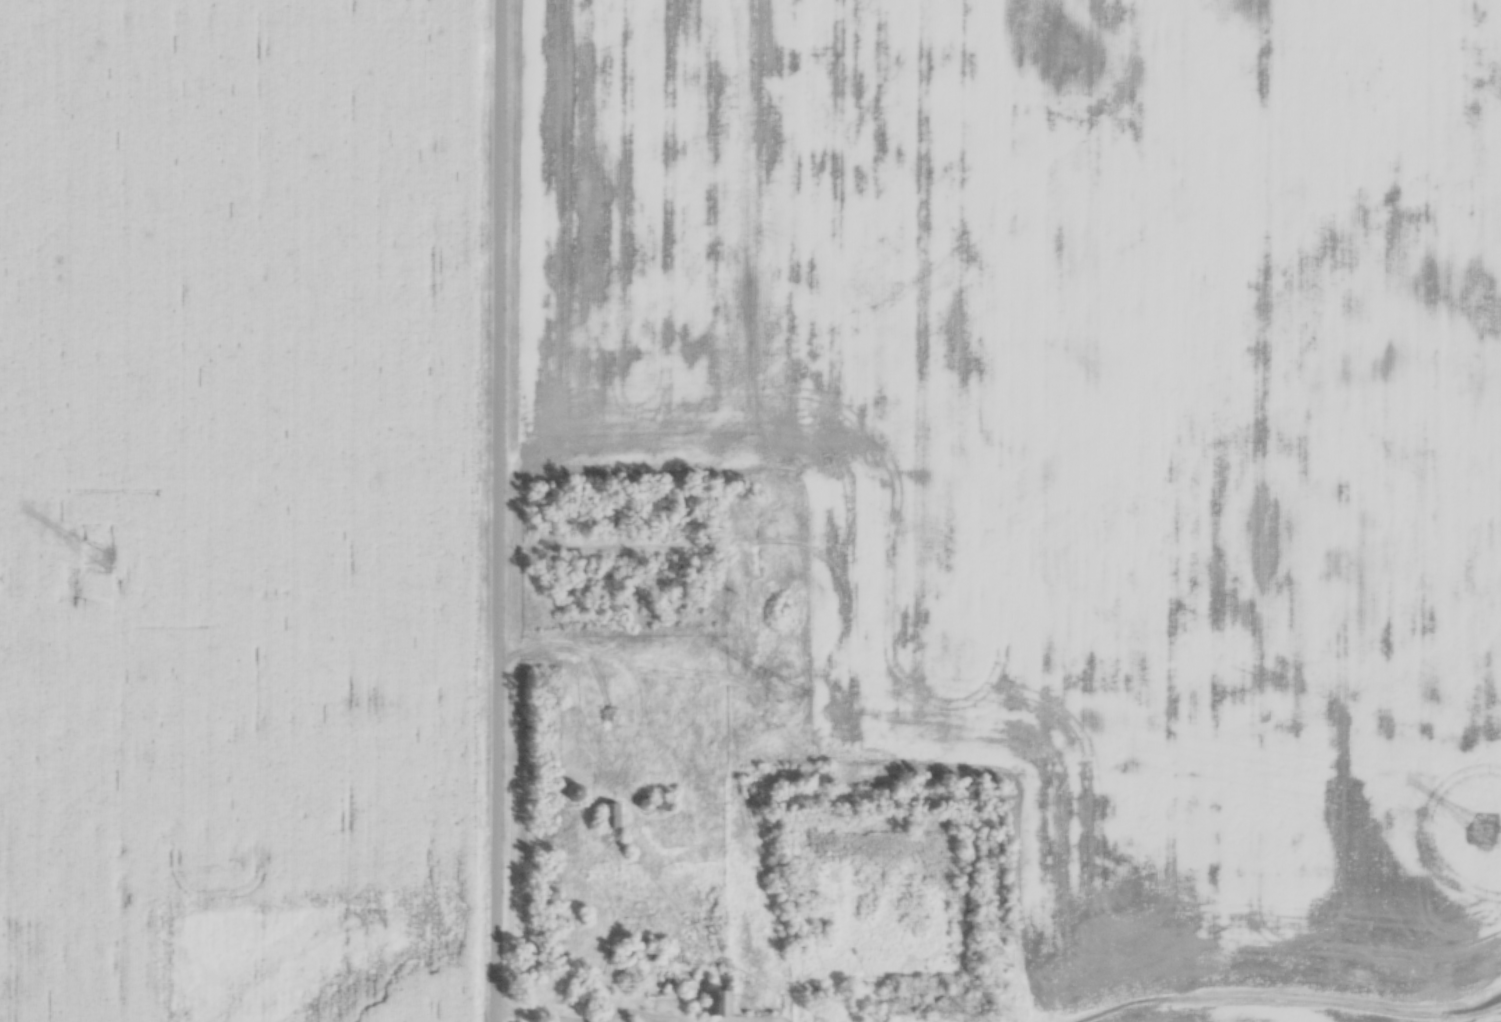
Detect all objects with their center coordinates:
road: (497, 511)
power tower: (98, 537)
road: (594, 546)
power tower: (796, 662)
road: (561, 697)
building: (572, 795)
power tower: (1484, 804)
building: (663, 805)
building: (608, 817)
road: (1285, 998)
building: (715, 1003)
road: (571, 1018)

